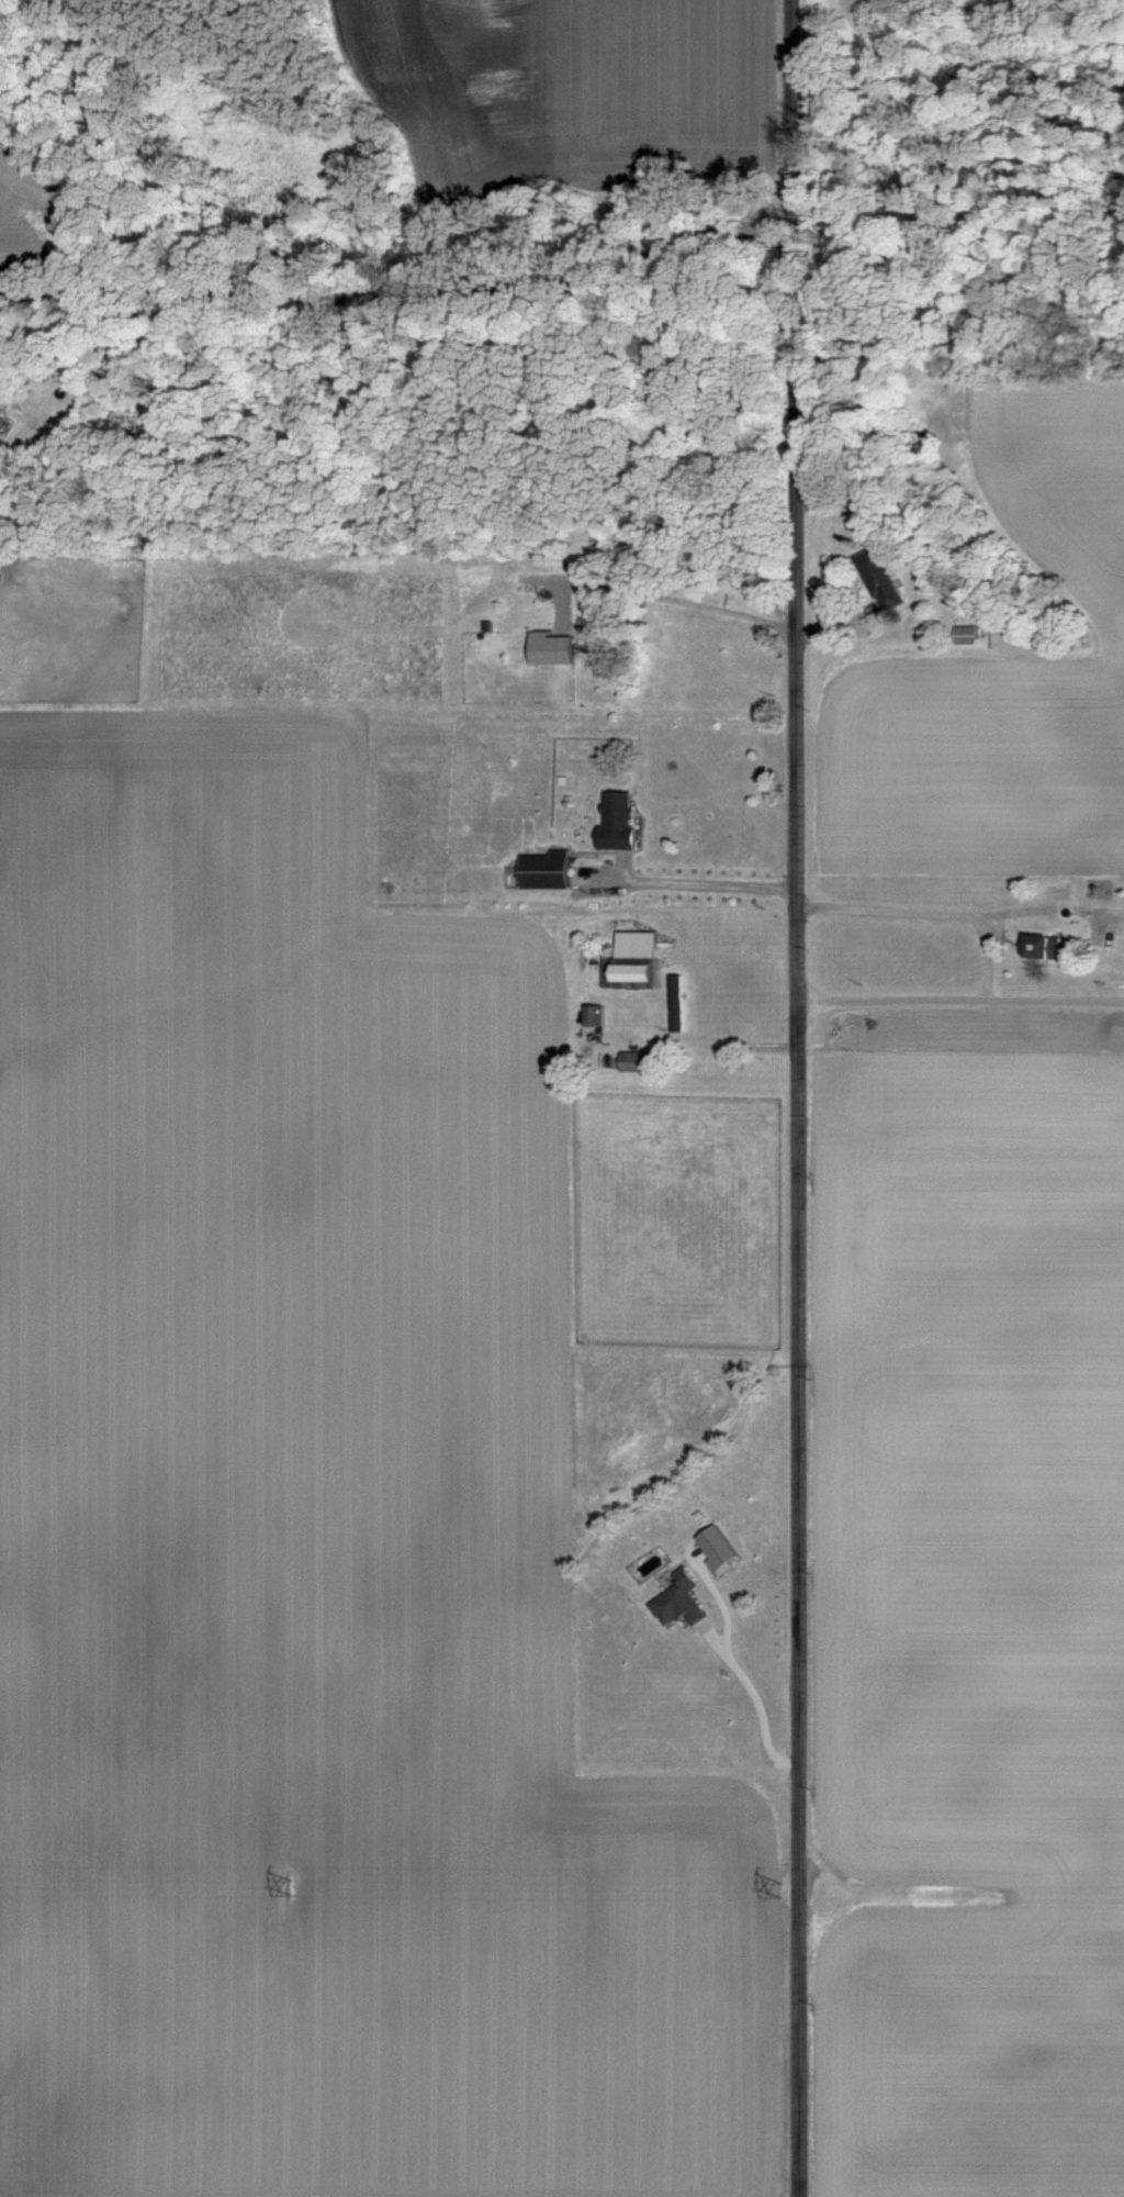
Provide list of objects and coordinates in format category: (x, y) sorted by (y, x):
road: (398, 259)
building: (877, 579)
road: (676, 598)
building: (965, 635)
building: (549, 649)
building: (615, 821)
building: (543, 870)
road: (694, 882)
road: (963, 918)
building: (1042, 946)
building: (633, 957)
building: (674, 1003)
road: (962, 1006)
building: (592, 1014)
road: (743, 1045)
building: (633, 1061)
road: (798, 1097)
building: (716, 1551)
building: (676, 1601)
road: (754, 1698)
power tower: (288, 1885)
power tower: (778, 1887)

